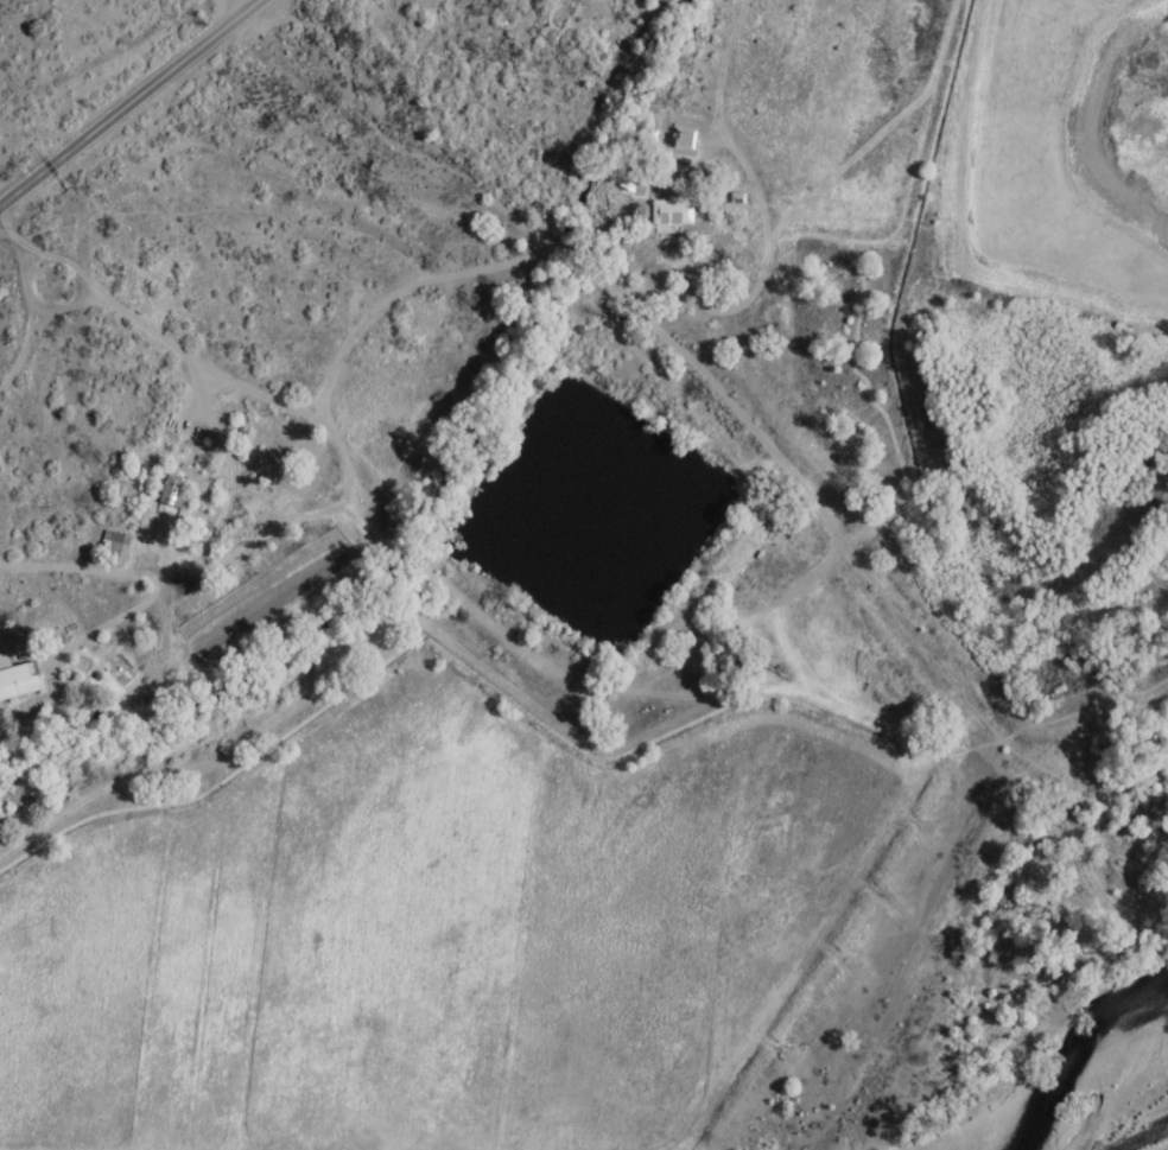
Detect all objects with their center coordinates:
road: (128, 104)
building: (172, 496)
building: (15, 681)
river: (1074, 1076)

